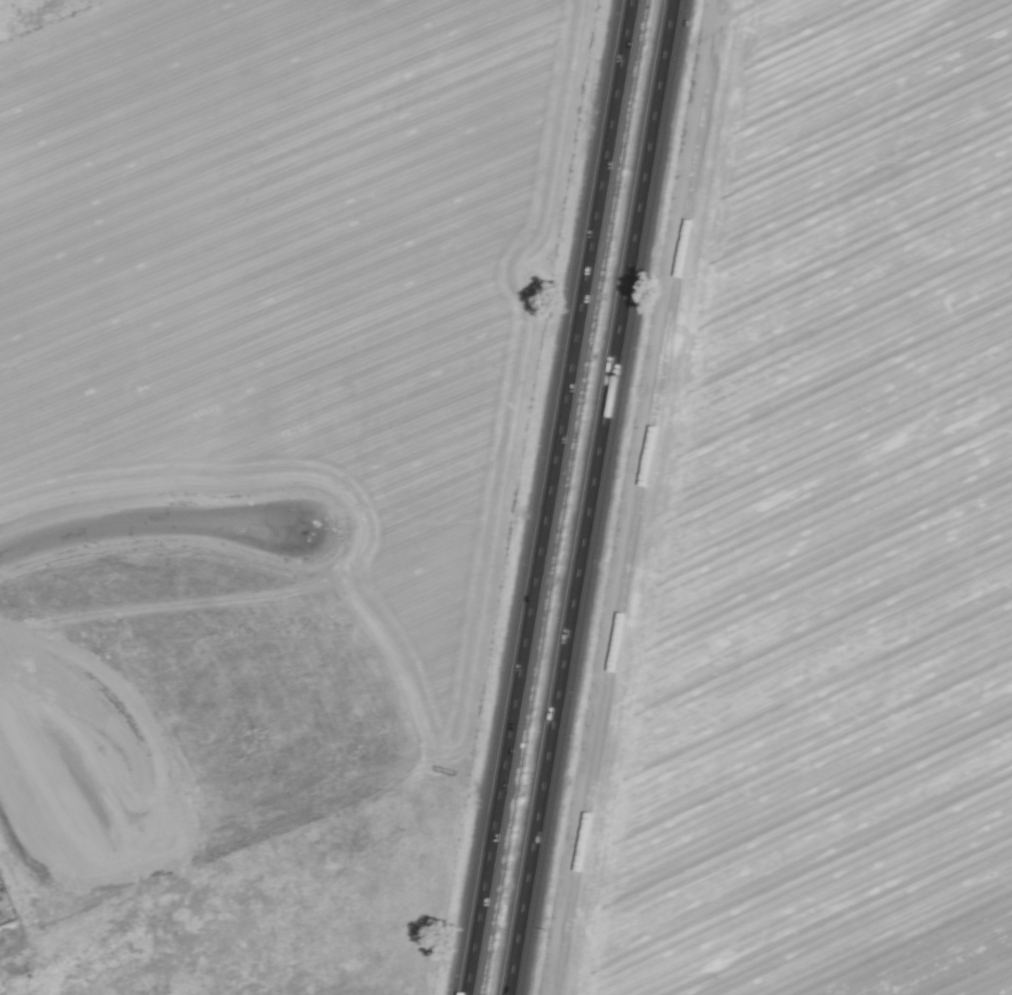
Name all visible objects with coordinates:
road: (546, 497)
road: (590, 497)
road: (147, 522)
crop: (822, 533)

